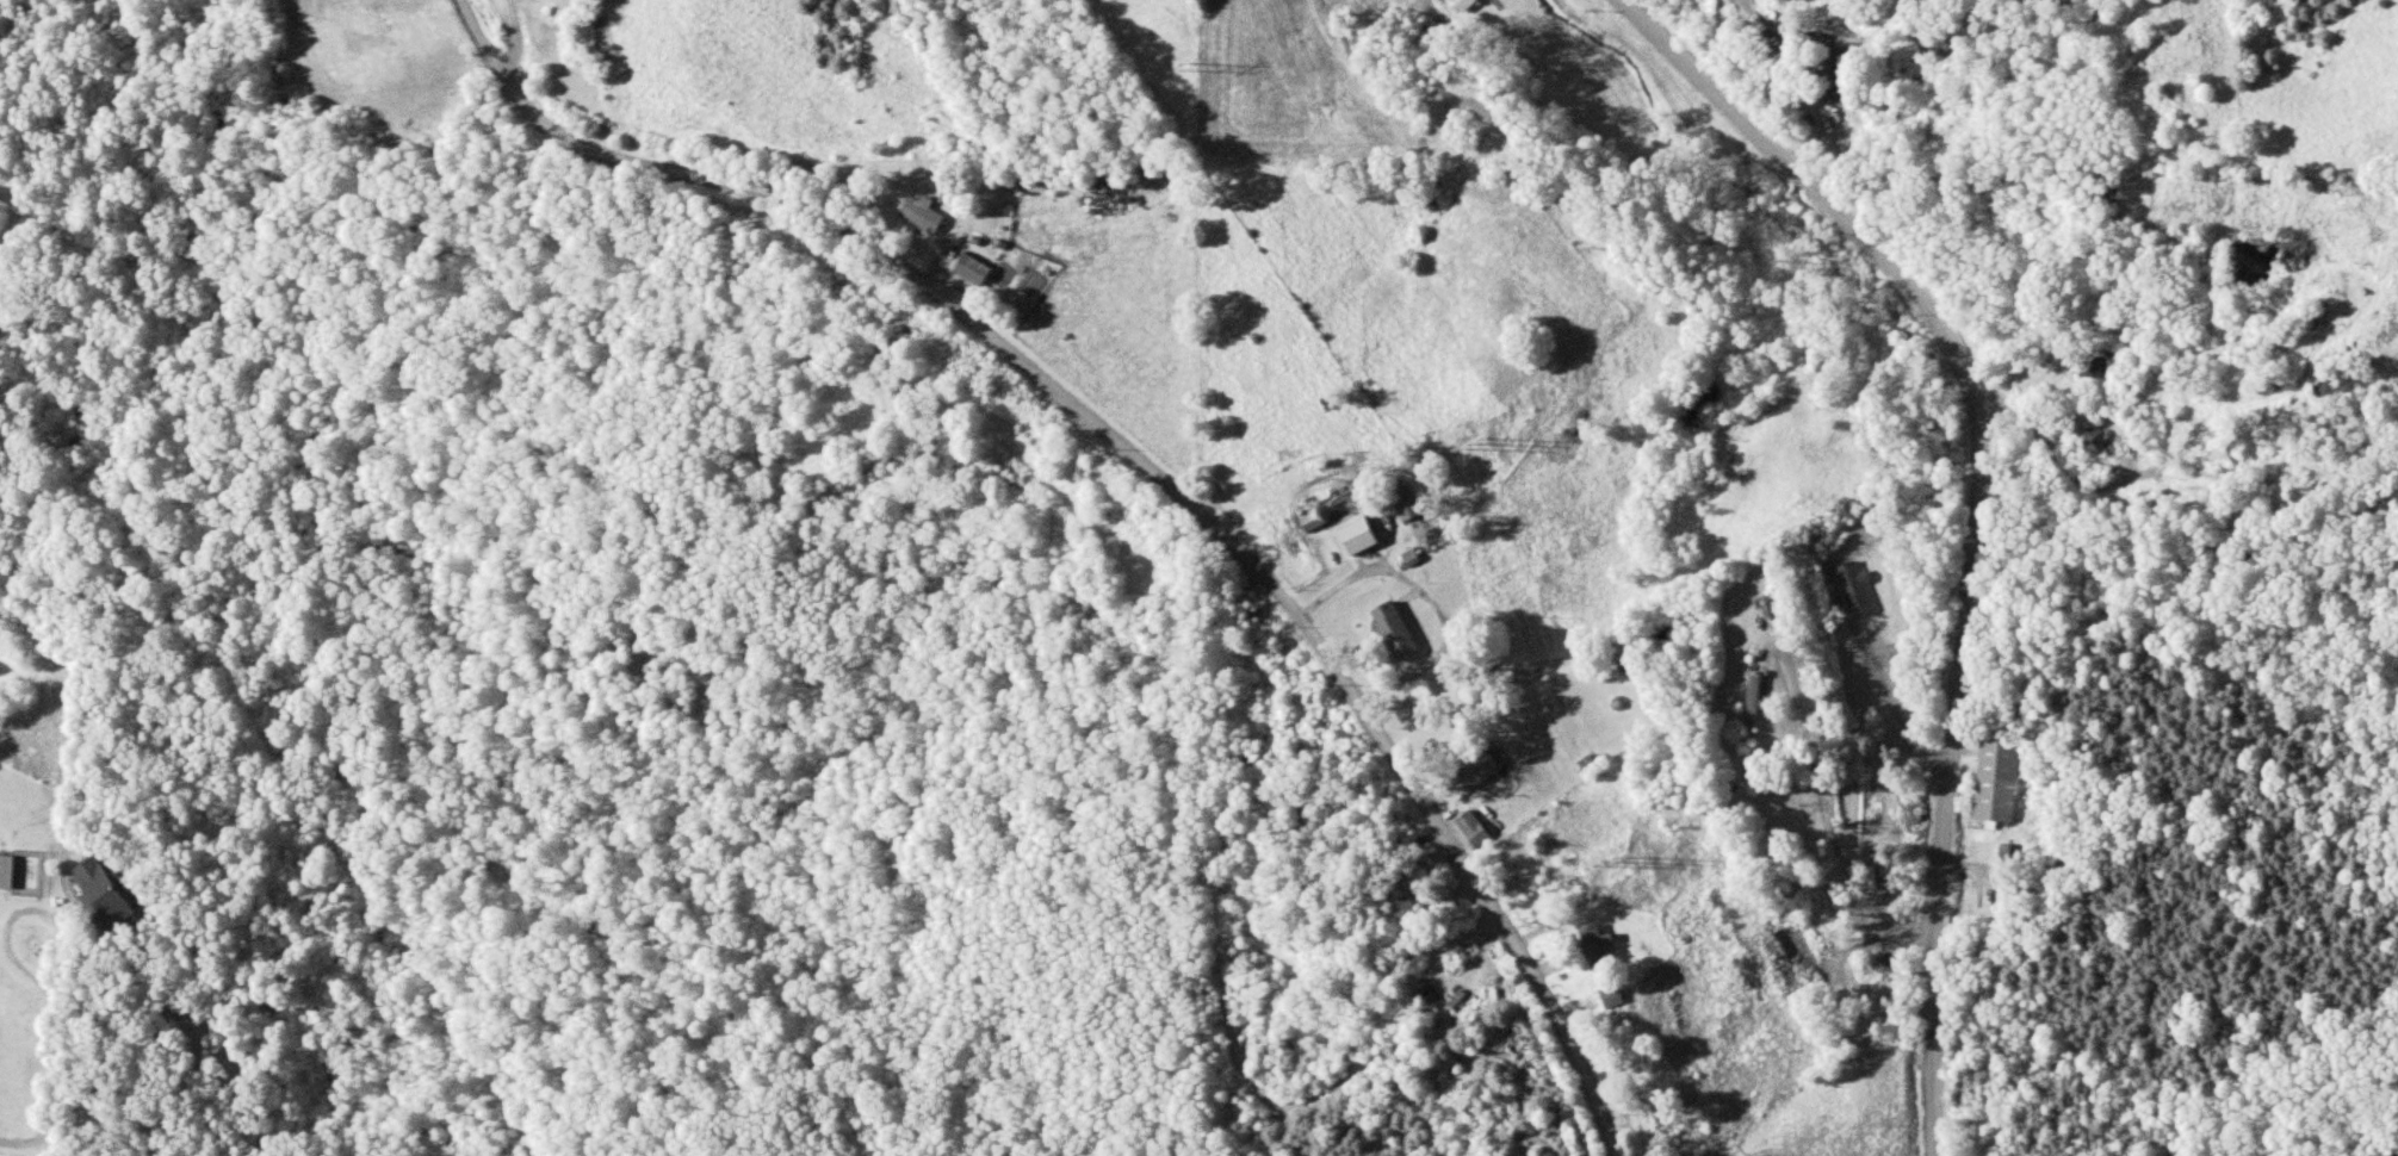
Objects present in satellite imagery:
power tower: (1177, 73)
road: (1815, 110)
power tower: (1467, 446)
road: (1150, 461)
road: (1977, 509)
power tower: (1610, 868)
road: (24, 914)
road: (60, 1102)
park: (2385, 1150)

